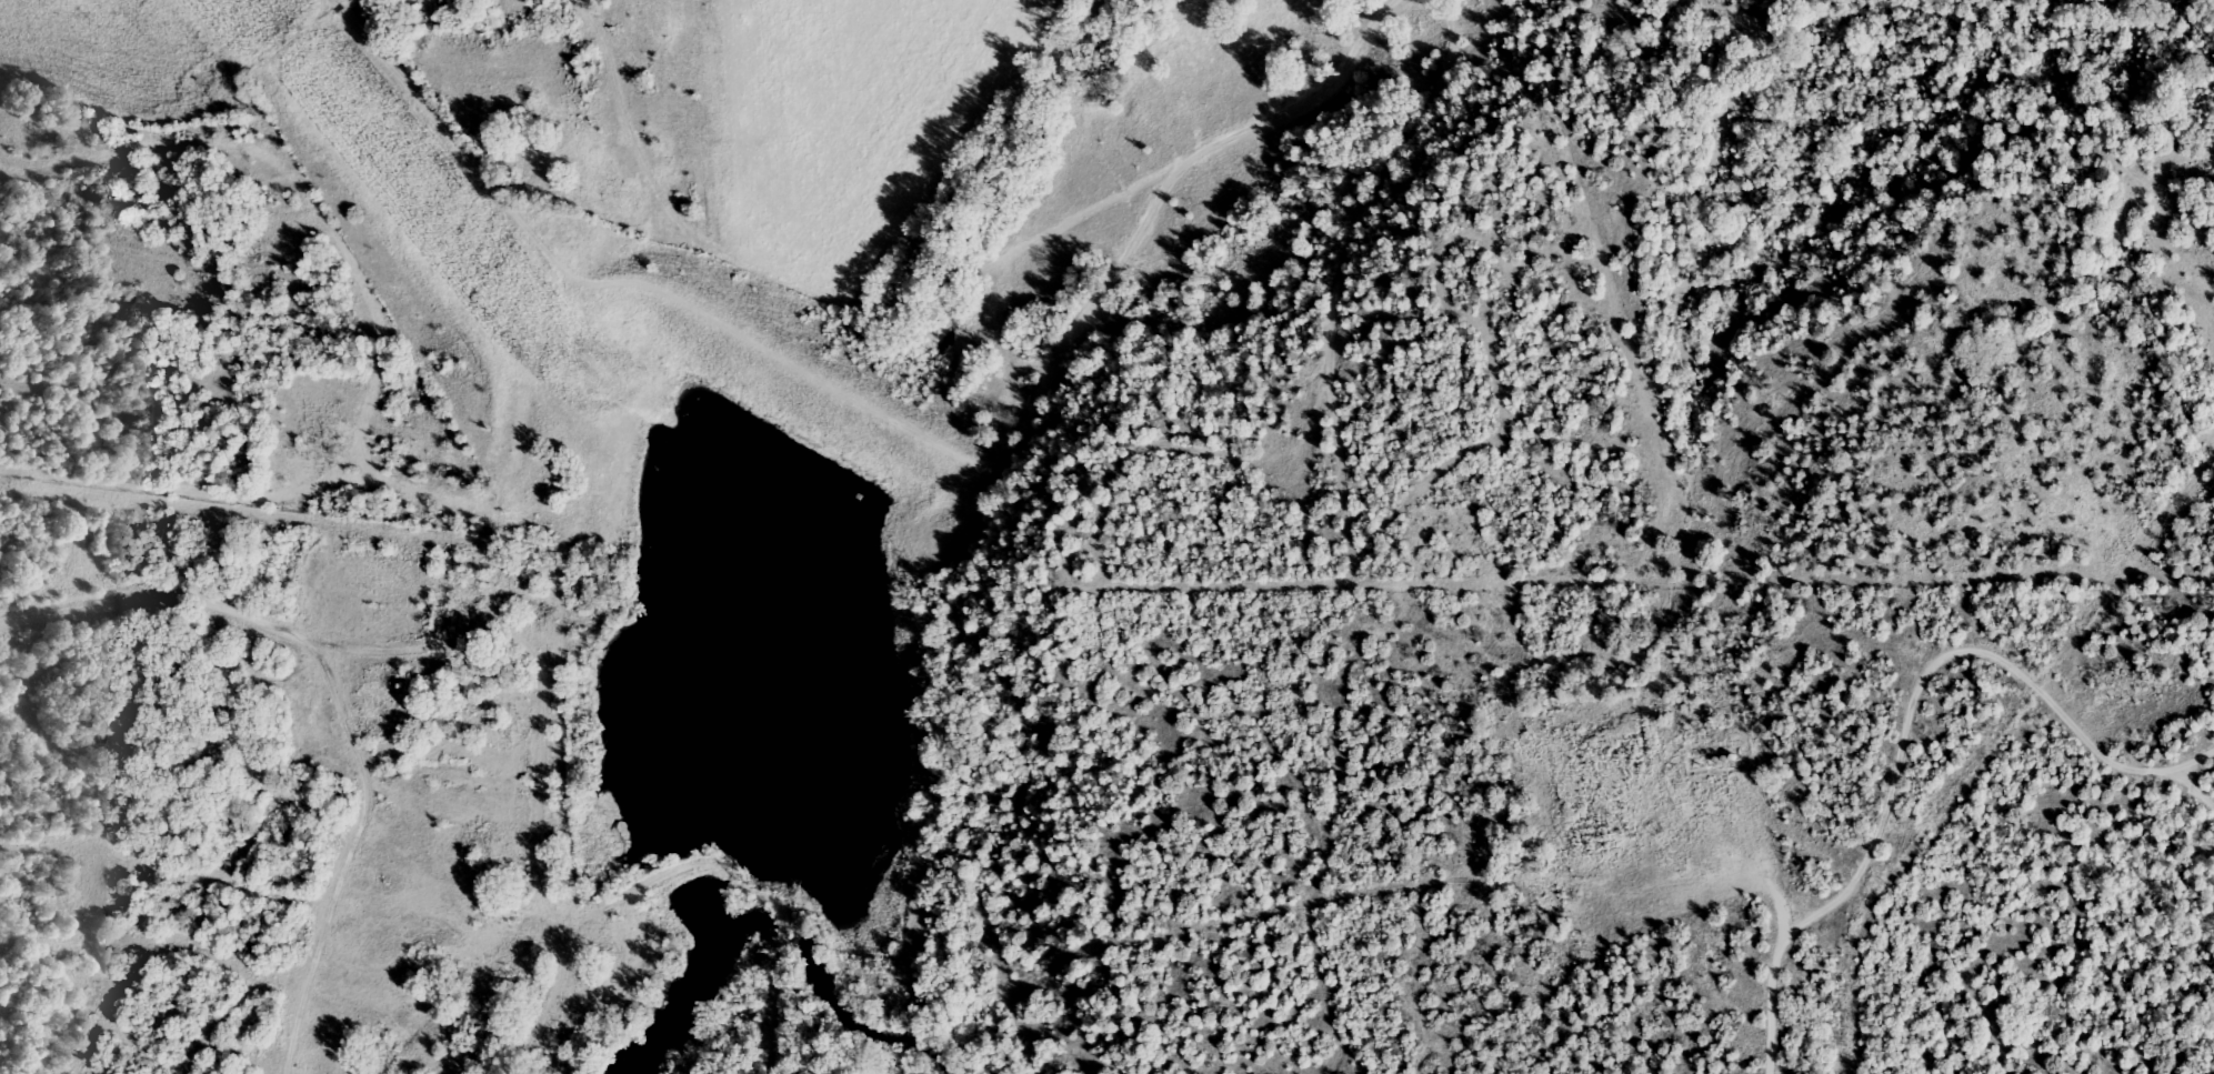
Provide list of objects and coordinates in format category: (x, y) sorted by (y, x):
road: (943, 274)
road: (794, 360)
road: (163, 600)
road: (403, 646)
road: (1654, 664)
road: (2183, 769)
road: (540, 842)
road: (1861, 856)
road: (345, 860)
road: (1776, 881)

